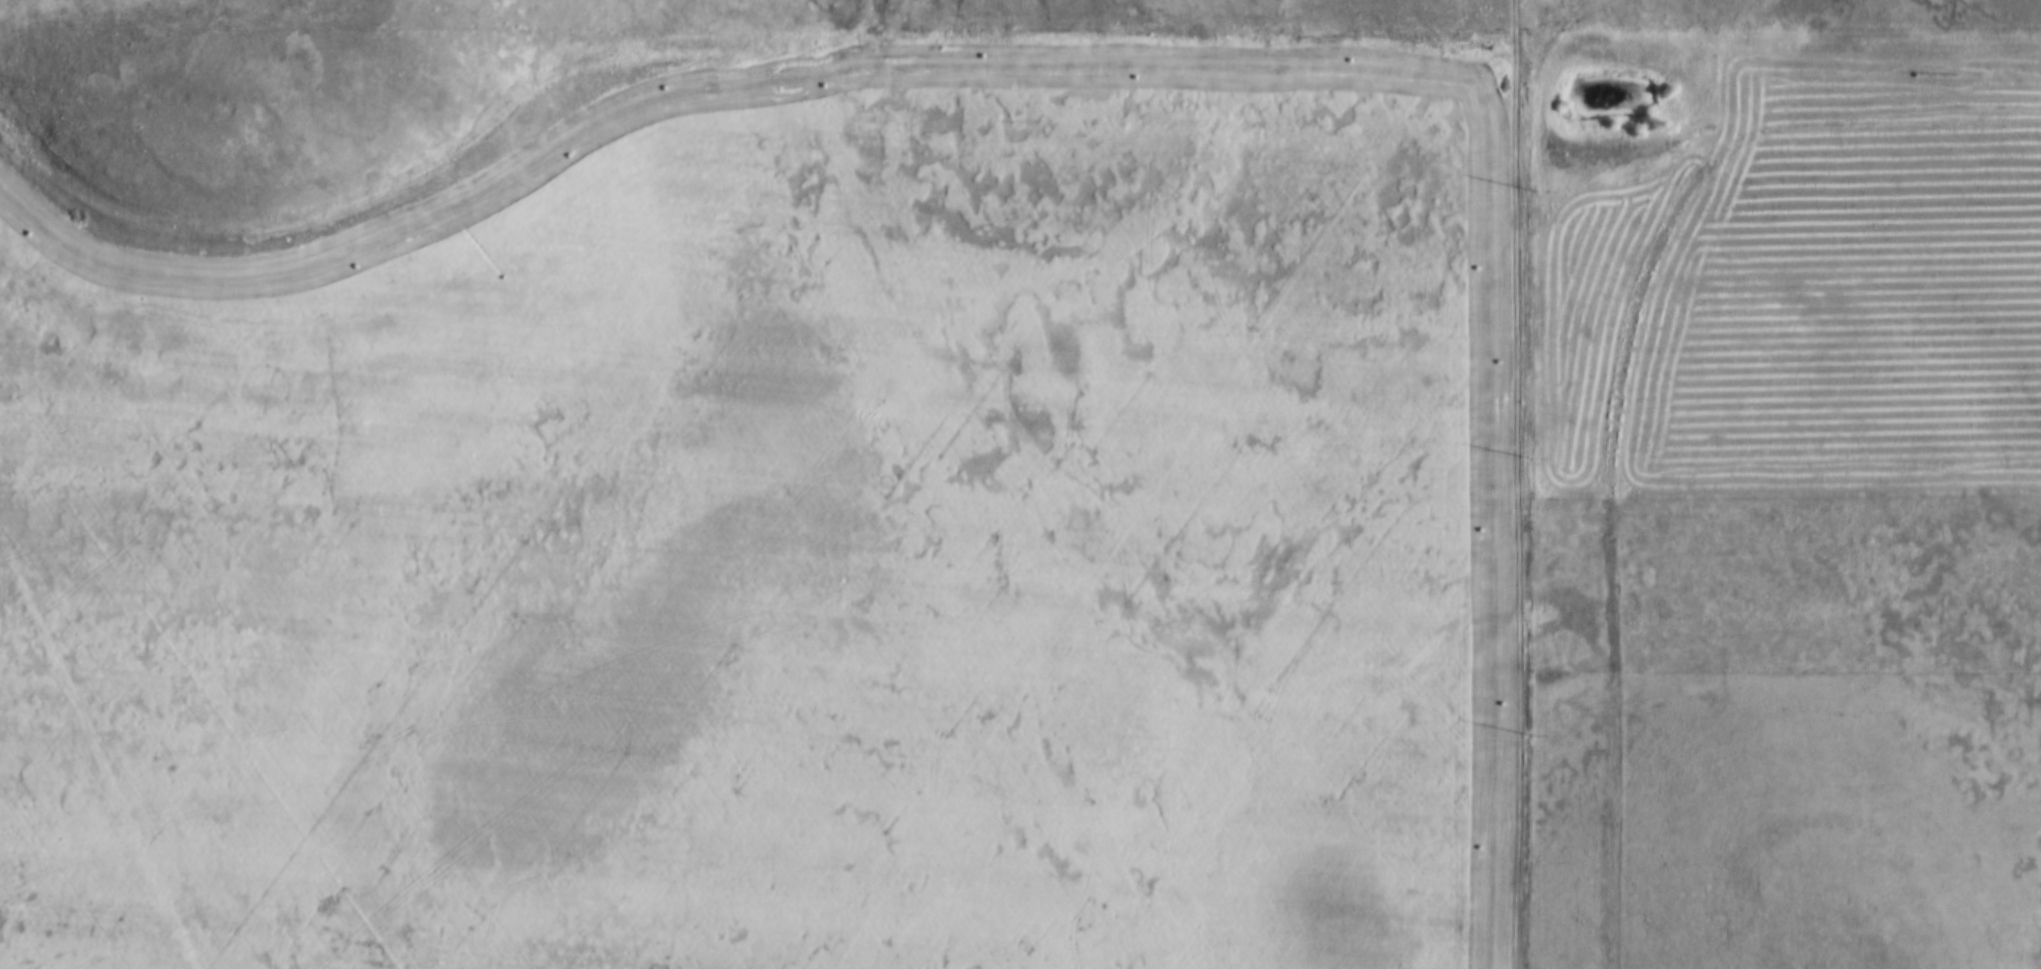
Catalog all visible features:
road: (1513, 460)

